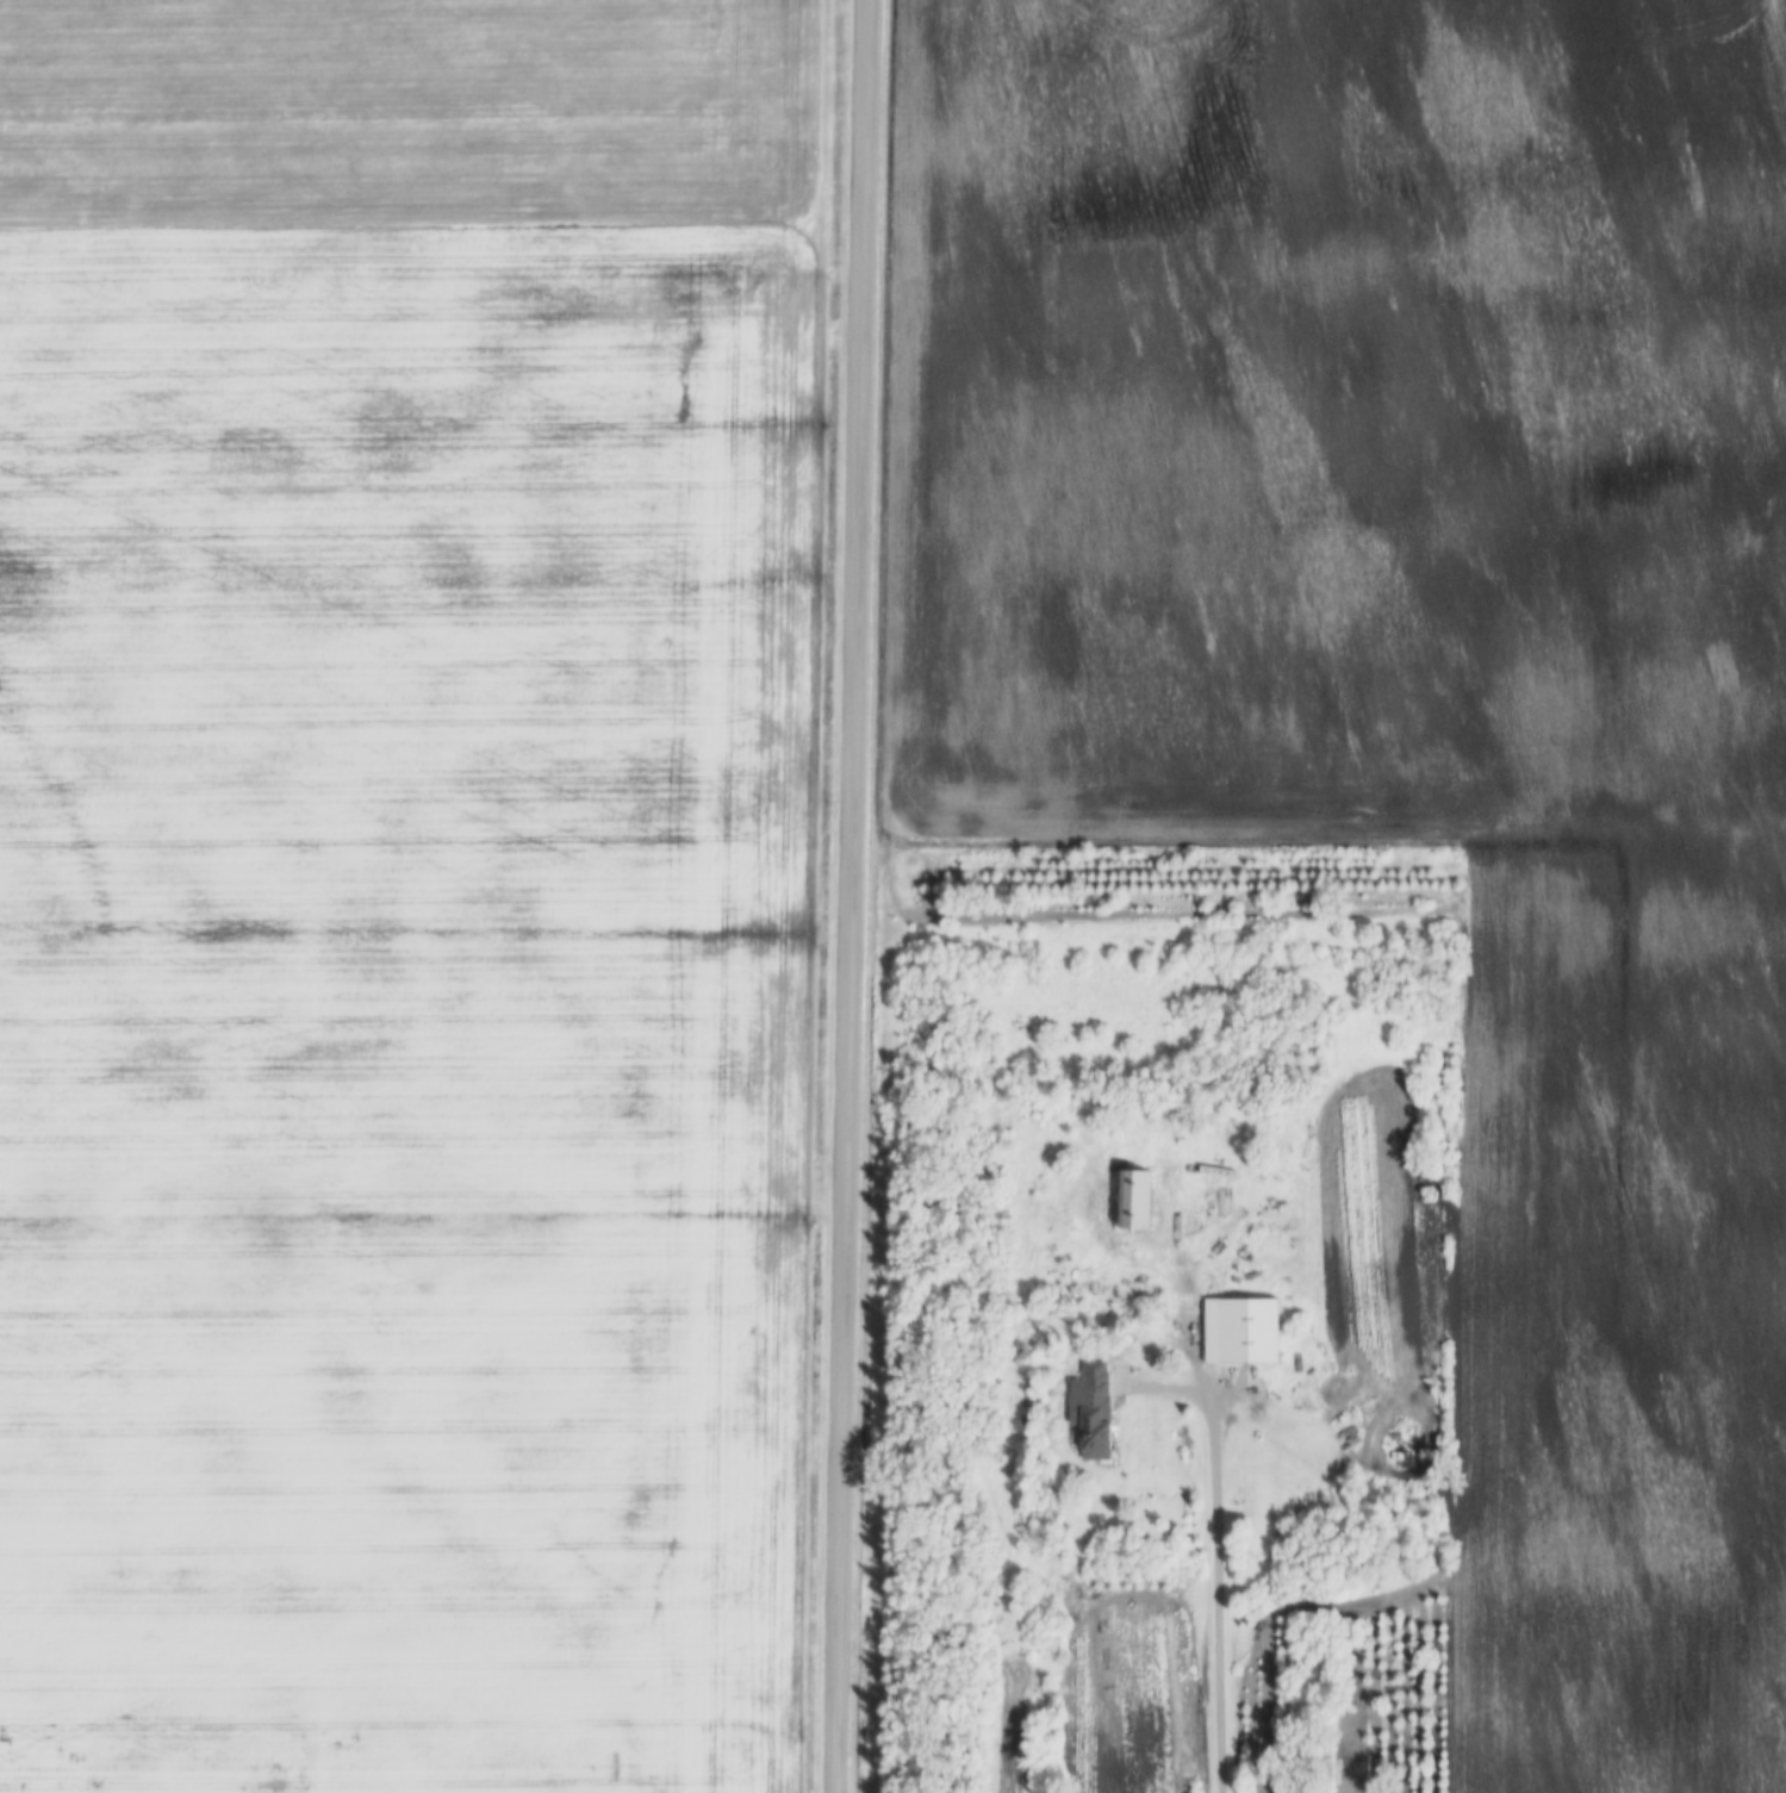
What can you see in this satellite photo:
crop: (1421, 685)
crop: (405, 891)
road: (848, 896)
building: (1134, 1202)
building: (1220, 1204)
building: (1245, 1334)
building: (1087, 1414)
road: (1214, 1549)

